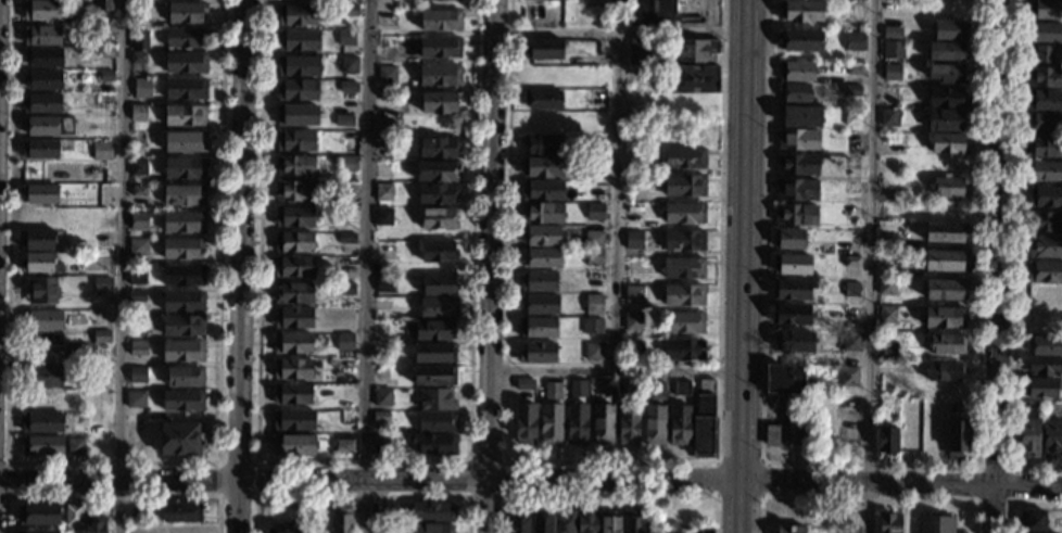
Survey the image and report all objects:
building: (434, 0)
building: (594, 0)
building: (856, 0)
building: (889, 2)
road: (745, 3)
building: (103, 4)
building: (950, 8)
building: (1046, 9)
building: (42, 10)
building: (349, 11)
building: (801, 11)
building: (186, 12)
building: (652, 13)
building: (299, 15)
building: (441, 20)
building: (894, 27)
building: (946, 28)
building: (1046, 31)
road: (618, 33)
building: (41, 35)
building: (185, 37)
building: (346, 38)
building: (139, 39)
building: (298, 40)
building: (800, 41)
building: (855, 41)
building: (440, 48)
building: (543, 49)
building: (893, 49)
building: (696, 50)
building: (637, 51)
building: (946, 51)
building: (104, 53)
building: (1040, 53)
building: (43, 58)
building: (138, 58)
building: (187, 63)
building: (298, 65)
building: (349, 65)
building: (855, 68)
building: (796, 72)
building: (892, 73)
building: (947, 73)
building: (387, 74)
building: (439, 75)
building: (543, 76)
building: (1045, 77)
building: (693, 78)
building: (42, 79)
building: (349, 86)
building: (142, 88)
building: (186, 89)
building: (299, 90)
building: (851, 90)
building: (794, 92)
building: (946, 98)
building: (543, 100)
building: (1044, 100)
building: (439, 102)
building: (41, 103)
building: (685, 103)
building: (347, 111)
building: (138, 113)
building: (185, 115)
building: (298, 115)
building: (800, 116)
building: (848, 117)
building: (889, 117)
building: (343, 119)
building: (946, 120)
building: (542, 122)
building: (1045, 122)
building: (48, 126)
building: (383, 128)
building: (797, 139)
building: (295, 141)
building: (185, 142)
building: (542, 143)
building: (948, 143)
building: (383, 144)
building: (1042, 147)
building: (438, 148)
building: (40, 149)
building: (102, 151)
building: (684, 158)
building: (347, 164)
building: (797, 164)
building: (295, 166)
building: (595, 166)
building: (138, 167)
building: (542, 167)
building: (103, 168)
building: (185, 168)
building: (40, 170)
building: (435, 170)
building: (1045, 170)
building: (684, 186)
building: (850, 187)
building: (948, 188)
building: (797, 189)
building: (542, 190)
building: (139, 191)
building: (294, 191)
building: (383, 192)
building: (40, 193)
building: (437, 193)
building: (184, 195)
building: (1045, 196)
road: (617, 202)
building: (595, 212)
road: (741, 212)
building: (542, 213)
building: (683, 213)
building: (796, 214)
building: (294, 217)
building: (383, 217)
building: (439, 218)
building: (139, 221)
building: (184, 221)
building: (1045, 221)
building: (945, 231)
building: (541, 234)
building: (346, 239)
building: (593, 239)
building: (788, 239)
building: (886, 239)
building: (38, 240)
building: (633, 240)
building: (683, 240)
building: (293, 242)
building: (1045, 246)
building: (138, 248)
building: (182, 249)
building: (385, 251)
building: (439, 252)
building: (594, 256)
building: (542, 257)
road: (1013, 259)
building: (134, 261)
building: (850, 261)
building: (946, 261)
building: (39, 263)
building: (792, 265)
road: (121, 266)
road: (241, 266)
road: (364, 266)
road: (490, 266)
road: (871, 266)
road: (997, 266)
building: (293, 267)
building: (683, 267)
building: (885, 268)
building: (1045, 271)
building: (137, 276)
building: (182, 276)
building: (540, 281)
building: (384, 283)
building: (102, 284)
building: (439, 285)
building: (885, 287)
building: (345, 289)
building: (944, 289)
building: (791, 290)
building: (851, 290)
building: (41, 291)
building: (293, 293)
building: (633, 294)
building: (136, 295)
building: (683, 295)
building: (184, 302)
building: (540, 304)
building: (593, 304)
building: (438, 307)
building: (791, 315)
building: (887, 315)
building: (293, 317)
building: (945, 317)
building: (42, 321)
building: (632, 321)
building: (683, 322)
building: (343, 323)
building: (182, 326)
building: (536, 327)
building: (593, 327)
building: (431, 330)
building: (101, 338)
building: (345, 341)
building: (794, 341)
building: (851, 342)
building: (947, 343)
building: (292, 344)
building: (1045, 345)
building: (633, 346)
building: (138, 350)
building: (683, 350)
building: (888, 351)
building: (182, 352)
building: (593, 352)
building: (75, 353)
building: (433, 353)
building: (538, 353)
building: (1045, 367)
building: (293, 369)
road: (614, 369)
building: (944, 370)
building: (137, 375)
building: (433, 376)
building: (848, 376)
building: (42, 377)
building: (185, 377)
building: (783, 379)
building: (810, 382)
building: (524, 383)
building: (607, 385)
building: (622, 385)
building: (681, 388)
building: (1042, 388)
building: (577, 390)
building: (656, 390)
building: (553, 391)
building: (292, 394)
building: (382, 397)
building: (135, 399)
building: (437, 399)
building: (41, 401)
building: (182, 401)
building: (887, 402)
building: (1033, 405)
building: (379, 417)
building: (293, 420)
building: (437, 421)
building: (704, 421)
building: (42, 422)
building: (524, 423)
building: (551, 423)
building: (603, 423)
building: (577, 424)
building: (628, 424)
building: (654, 424)
building: (679, 424)
building: (802, 429)
building: (772, 435)
building: (957, 436)
building: (180, 437)
building: (1028, 437)
building: (1051, 437)
building: (886, 441)
building: (380, 443)
building: (343, 444)
building: (437, 444)
building: (294, 445)
building: (42, 446)
building: (75, 446)
road: (737, 448)
road: (111, 461)
road: (362, 461)
road: (610, 461)
road: (760, 464)
road: (871, 464)
road: (1009, 469)
road: (5, 479)
road: (368, 481)
road: (899, 483)
road: (254, 494)
road: (361, 496)
road: (610, 496)
road: (112, 497)
road: (504, 497)
road: (864, 497)
road: (1020, 503)
road: (736, 507)
building: (129, 512)
building: (181, 512)
building: (431, 512)
building: (39, 515)
building: (73, 518)
building: (341, 521)
building: (586, 521)
building: (633, 521)
building: (1032, 521)
building: (518, 522)
building: (542, 522)
building: (565, 522)
building: (610, 522)
building: (889, 522)
building: (94, 524)
building: (935, 524)
building: (285, 528)
building: (432, 528)
building: (791, 529)
building: (704, 530)
building: (682, 531)
building: (37, 532)

